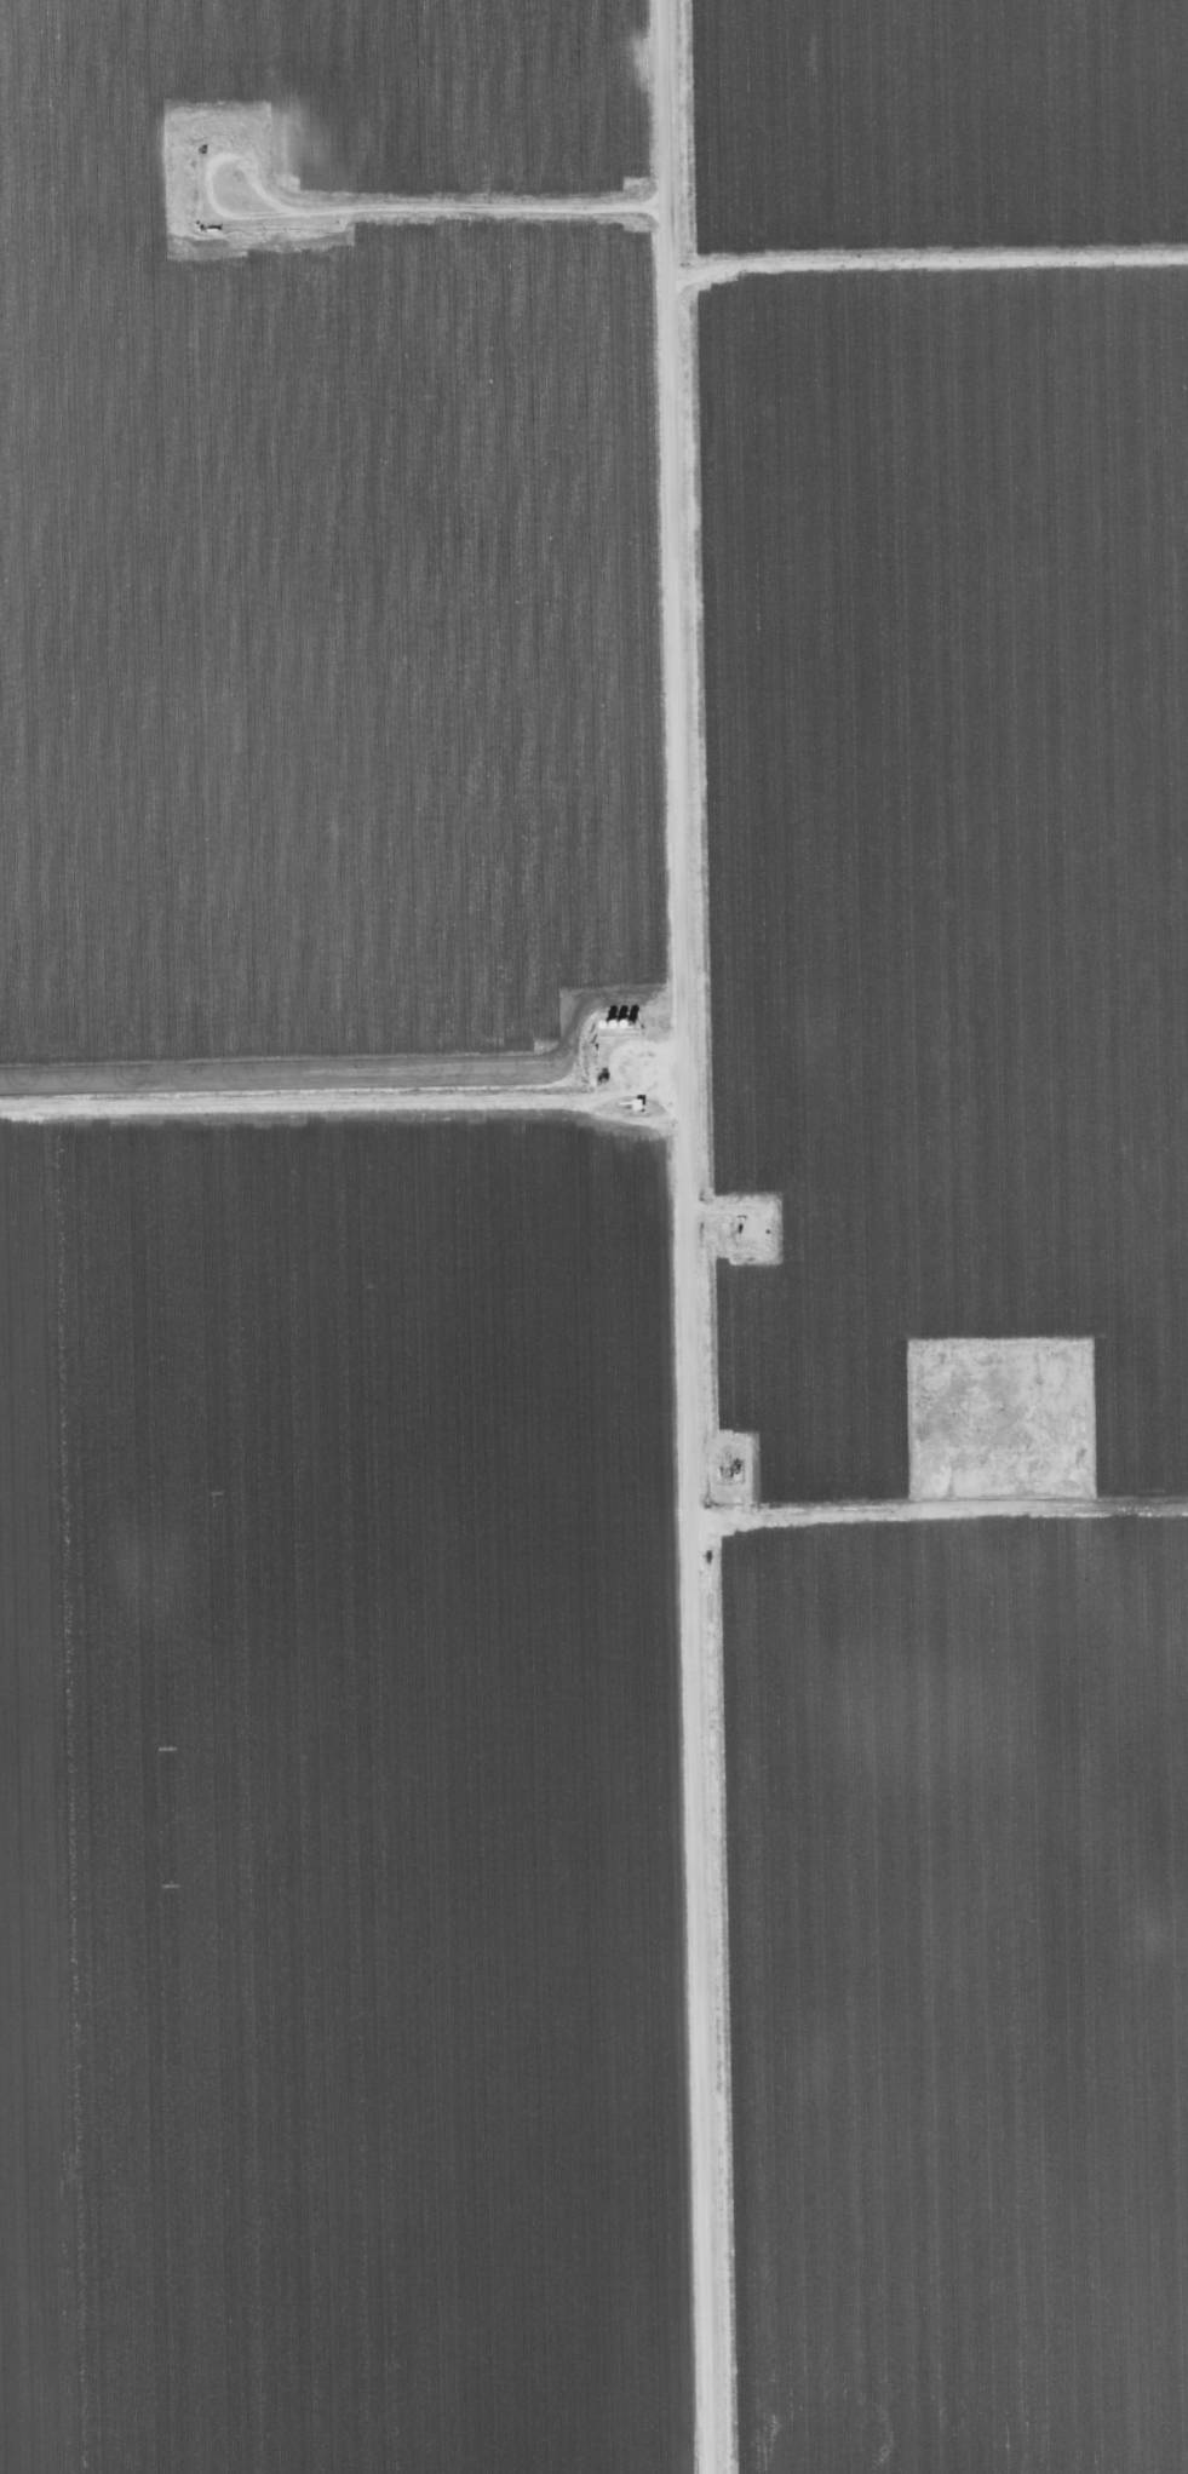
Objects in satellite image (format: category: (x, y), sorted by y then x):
road: (727, 1209)
road: (687, 1236)
road: (867, 1516)

